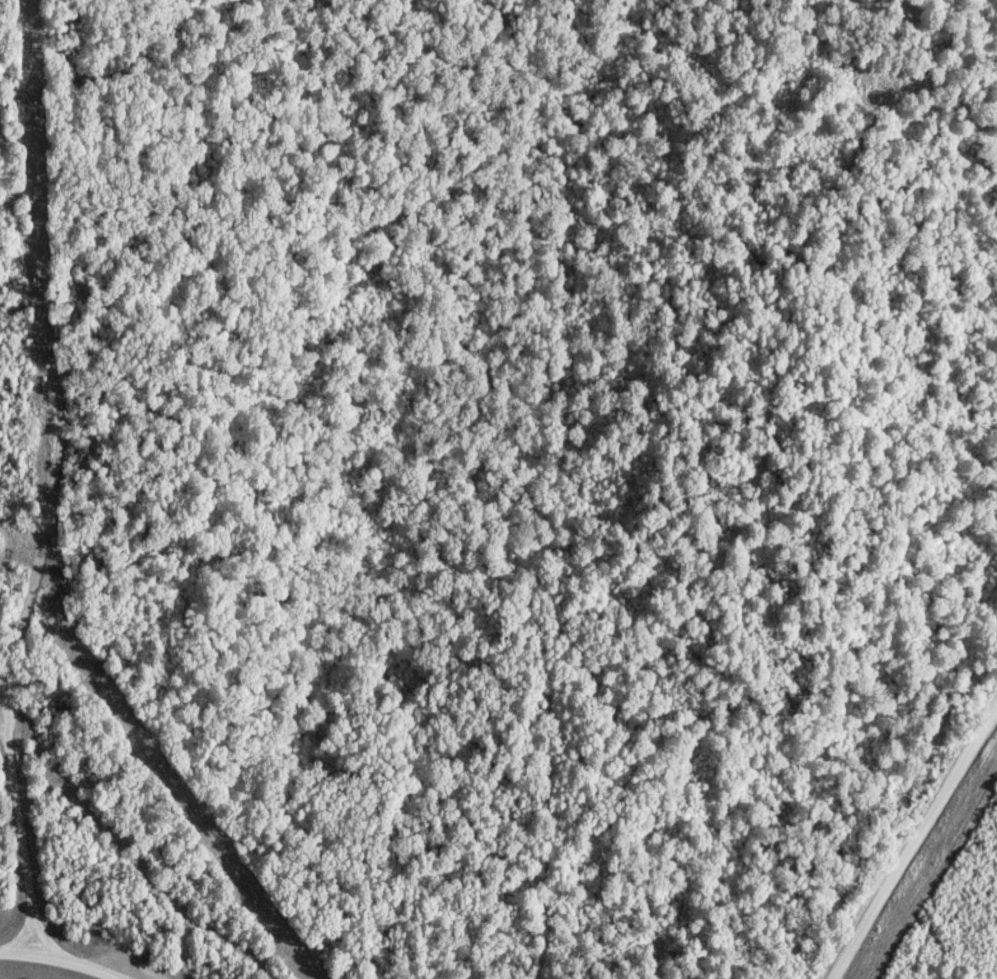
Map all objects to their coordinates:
road: (37, 565)
road: (916, 840)
road: (55, 961)

